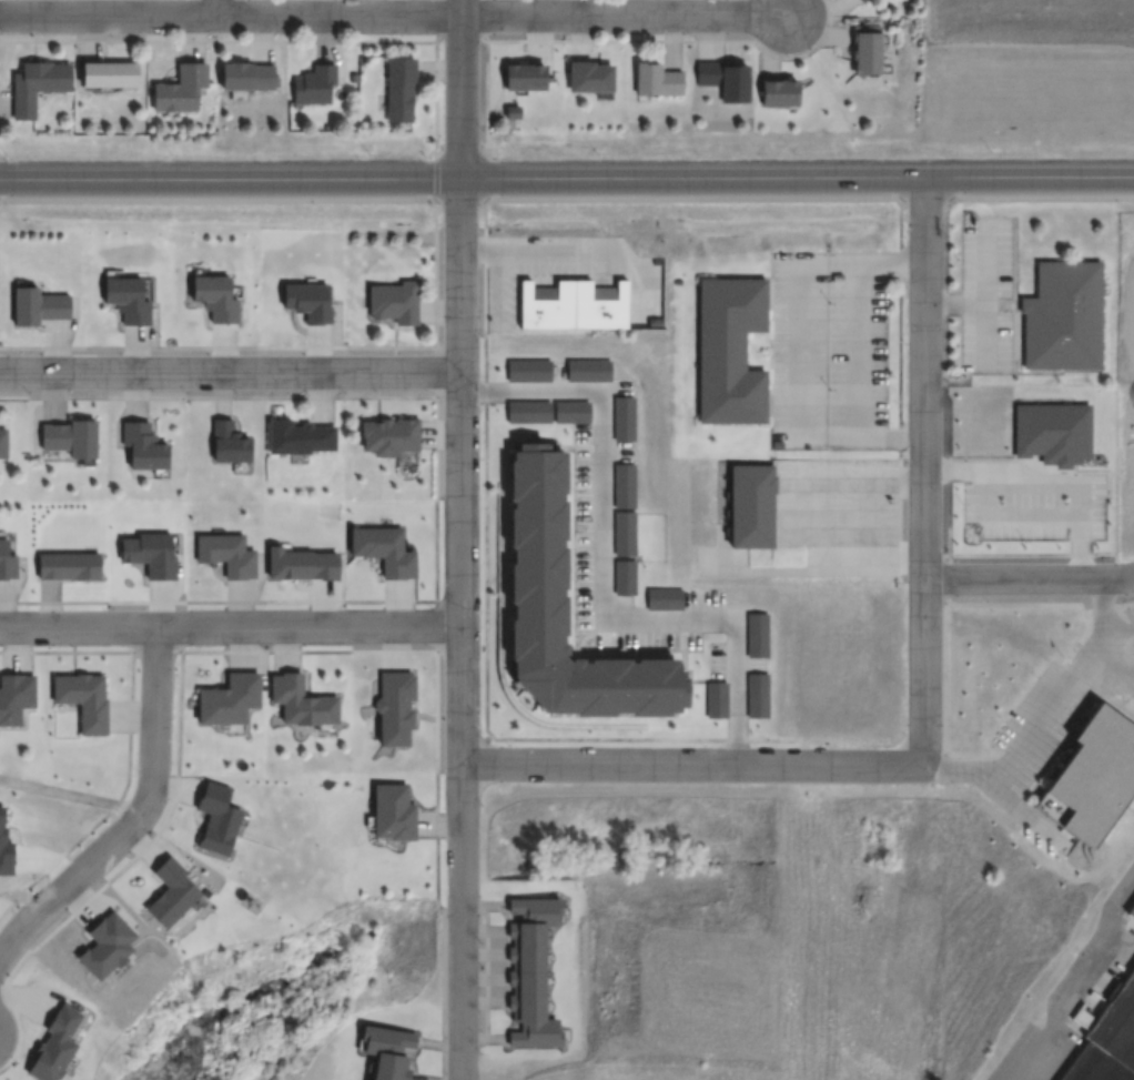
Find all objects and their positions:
building: (861, 1)
building: (864, 1)
road: (217, 8)
road: (395, 16)
building: (870, 57)
building: (111, 78)
building: (250, 80)
building: (590, 81)
building: (659, 82)
building: (729, 85)
road: (463, 87)
building: (318, 88)
building: (37, 89)
building: (186, 93)
building: (401, 94)
building: (782, 95)
road: (566, 174)
road: (567, 209)
building: (216, 301)
building: (393, 301)
building: (129, 303)
building: (308, 303)
building: (40, 311)
building: (575, 311)
building: (1065, 323)
parking lot: (833, 340)
building: (733, 354)
road: (230, 369)
building: (530, 373)
building: (591, 375)
building: (531, 415)
building: (573, 415)
building: (628, 422)
building: (388, 435)
building: (70, 437)
building: (297, 437)
building: (226, 441)
building: (2, 443)
building: (141, 446)
road: (924, 467)
building: (629, 488)
building: (750, 504)
parking lot: (583, 529)
building: (628, 537)
building: (385, 554)
building: (229, 558)
building: (6, 562)
building: (67, 565)
building: (304, 569)
road: (1029, 579)
building: (627, 581)
building: (667, 600)
building: (564, 607)
road: (463, 627)
road: (231, 628)
building: (761, 640)
building: (14, 696)
parking lot: (1067, 696)
building: (229, 697)
building: (760, 698)
building: (82, 699)
building: (300, 699)
building: (719, 703)
building: (397, 711)
road: (693, 764)
building: (1094, 779)
building: (393, 811)
road: (138, 820)
building: (217, 821)
building: (6, 854)
building: (172, 894)
building: (1132, 914)
building: (530, 971)
road: (1071, 973)
building: (1108, 1042)
building: (58, 1046)
building: (385, 1050)

